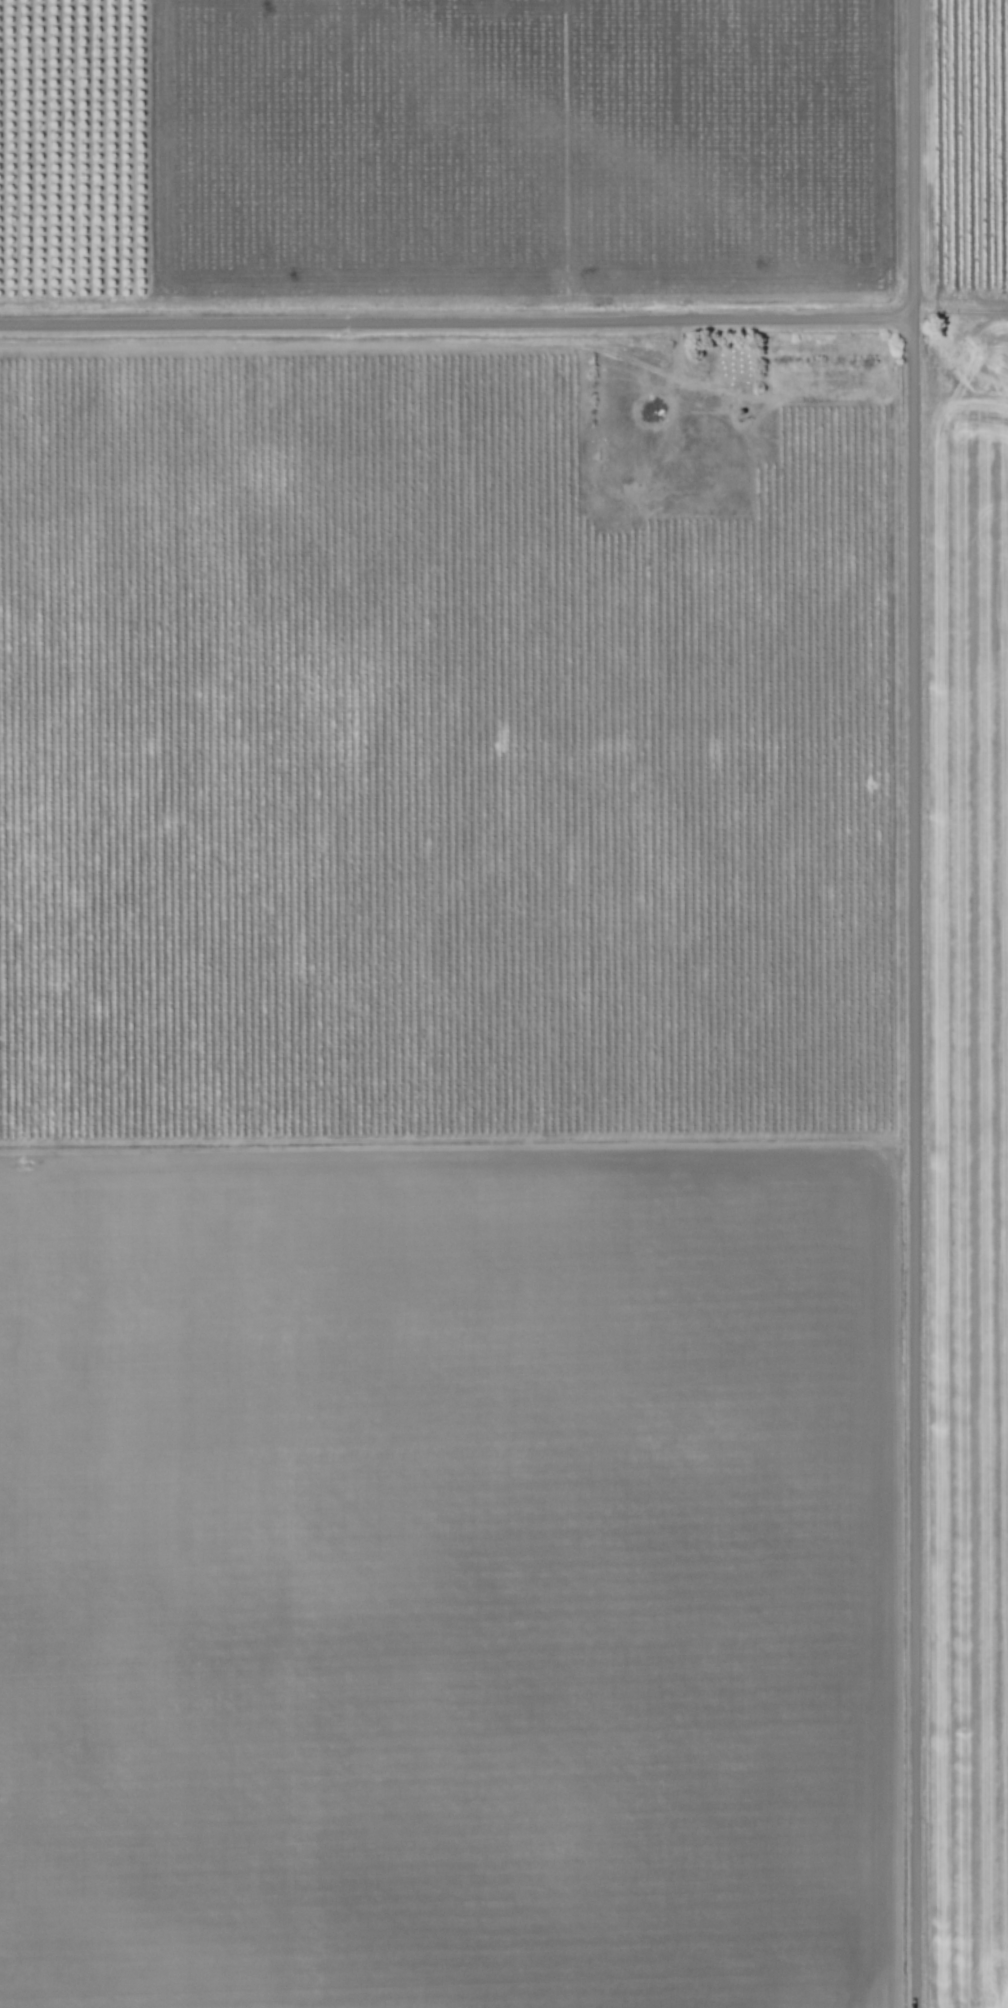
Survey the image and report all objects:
road: (454, 318)
road: (912, 1003)

